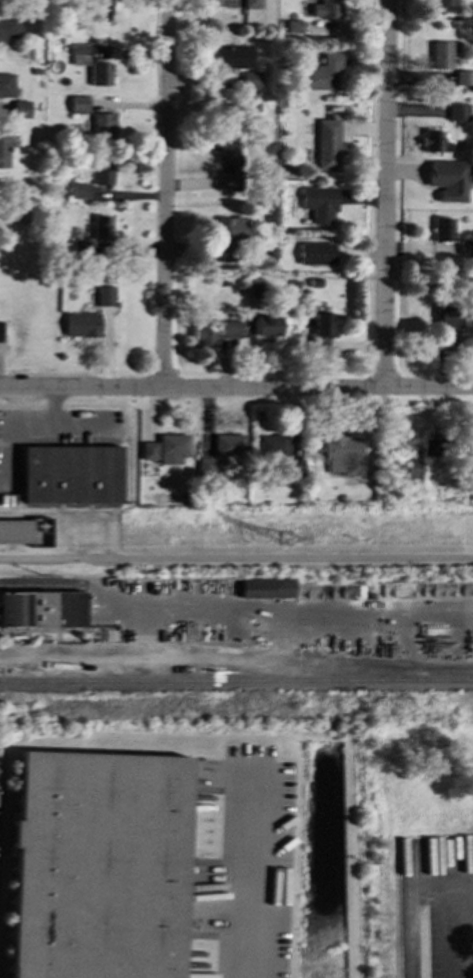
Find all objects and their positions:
building: (444, 2)
building: (251, 4)
building: (99, 9)
building: (326, 9)
building: (8, 27)
building: (78, 54)
building: (441, 54)
building: (233, 55)
building: (320, 72)
building: (99, 73)
building: (463, 77)
building: (250, 80)
building: (6, 84)
building: (77, 104)
building: (20, 108)
building: (457, 111)
building: (101, 127)
building: (433, 141)
building: (327, 144)
building: (3, 148)
building: (227, 161)
building: (101, 172)
building: (447, 179)
building: (78, 189)
road: (165, 194)
road: (386, 194)
building: (318, 203)
building: (101, 227)
building: (442, 228)
building: (227, 235)
building: (79, 248)
building: (466, 248)
building: (316, 253)
building: (104, 295)
building: (81, 323)
building: (444, 324)
building: (266, 325)
building: (322, 327)
building: (216, 330)
road: (236, 389)
building: (227, 444)
building: (272, 446)
building: (431, 446)
building: (171, 447)
building: (148, 449)
building: (342, 453)
building: (292, 467)
building: (412, 467)
building: (70, 473)
building: (21, 529)
power tower: (285, 540)
road: (236, 558)
building: (265, 587)
road: (134, 603)
building: (41, 609)
railway: (236, 683)
building: (98, 865)
road: (239, 877)
road: (408, 892)
road: (451, 915)

